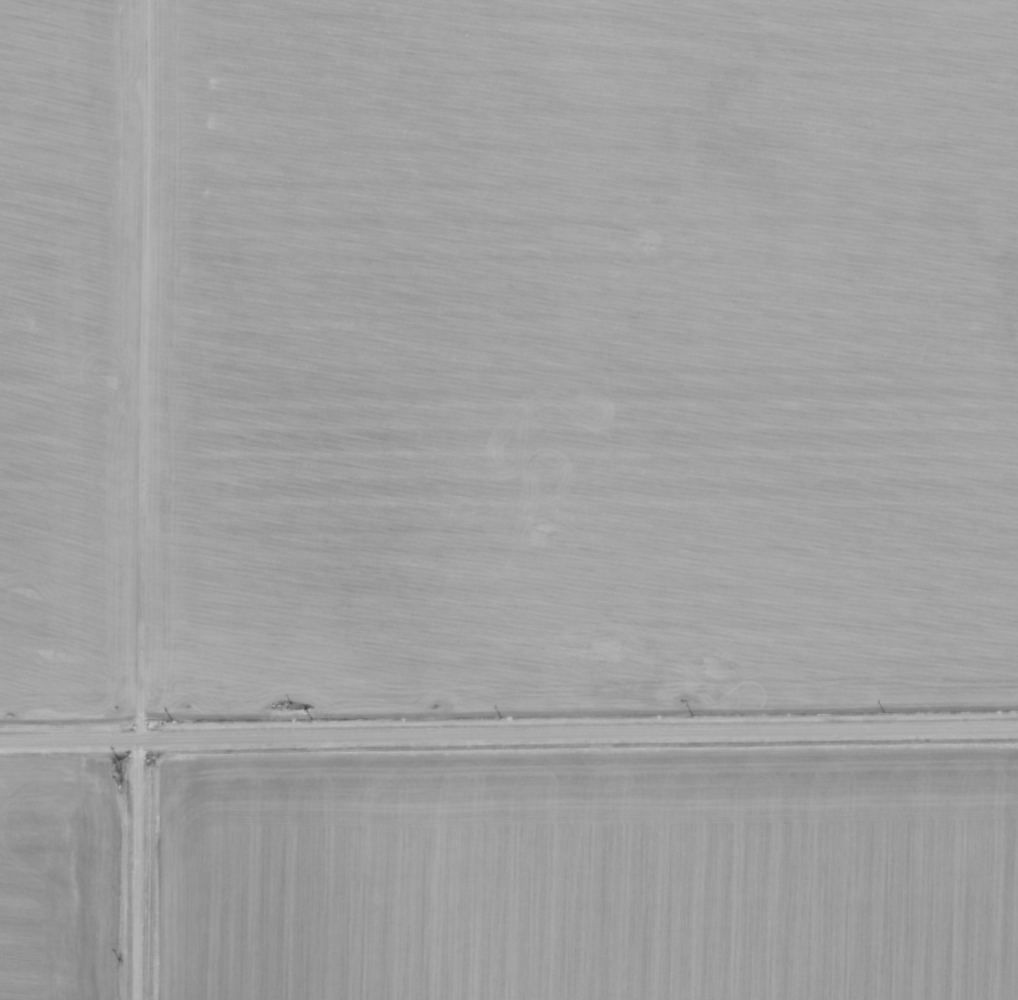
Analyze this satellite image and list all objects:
road: (509, 736)

